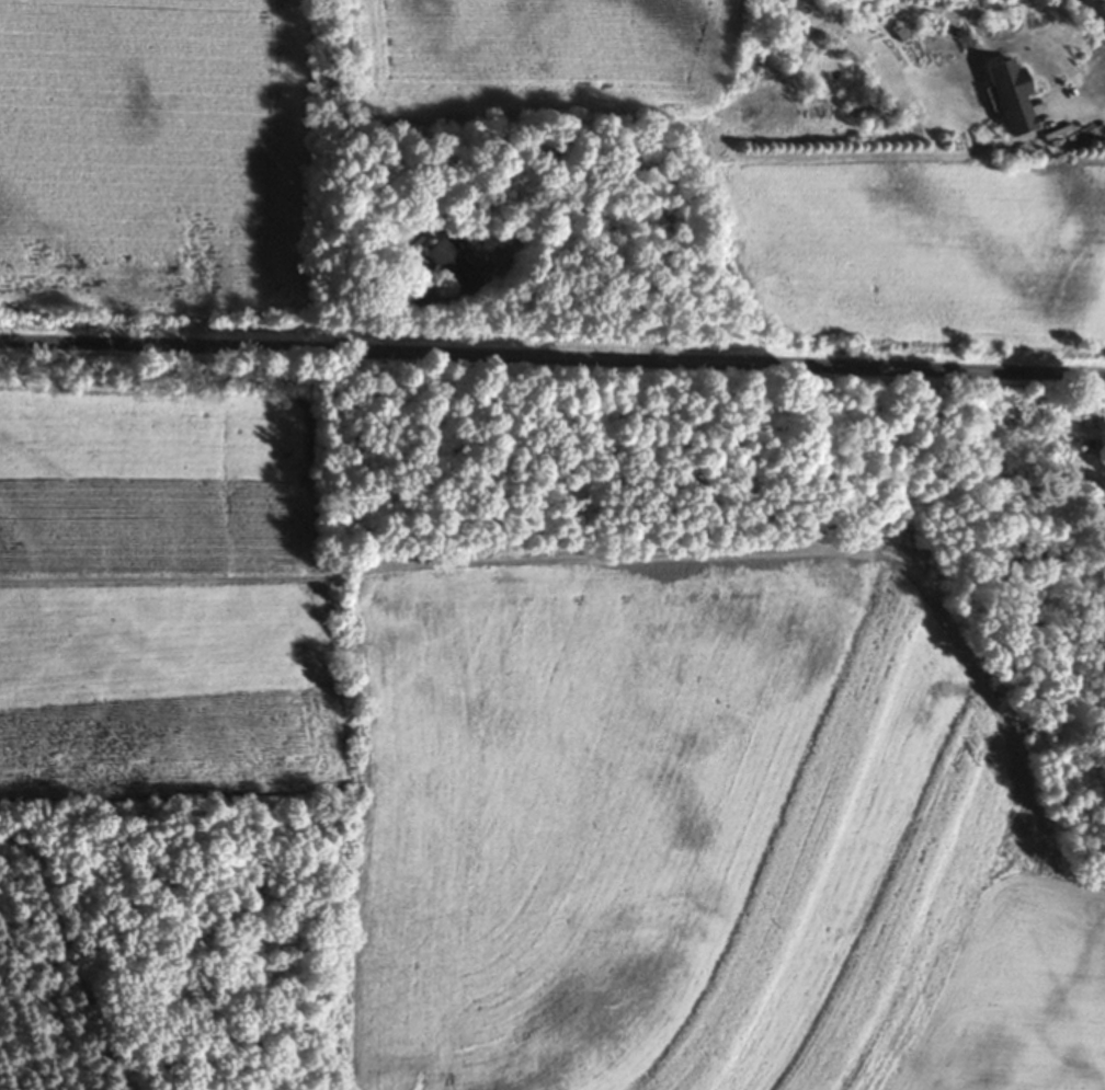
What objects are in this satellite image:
building: (1009, 96)
road: (1080, 108)
building: (501, 253)
building: (449, 266)
road: (551, 359)

